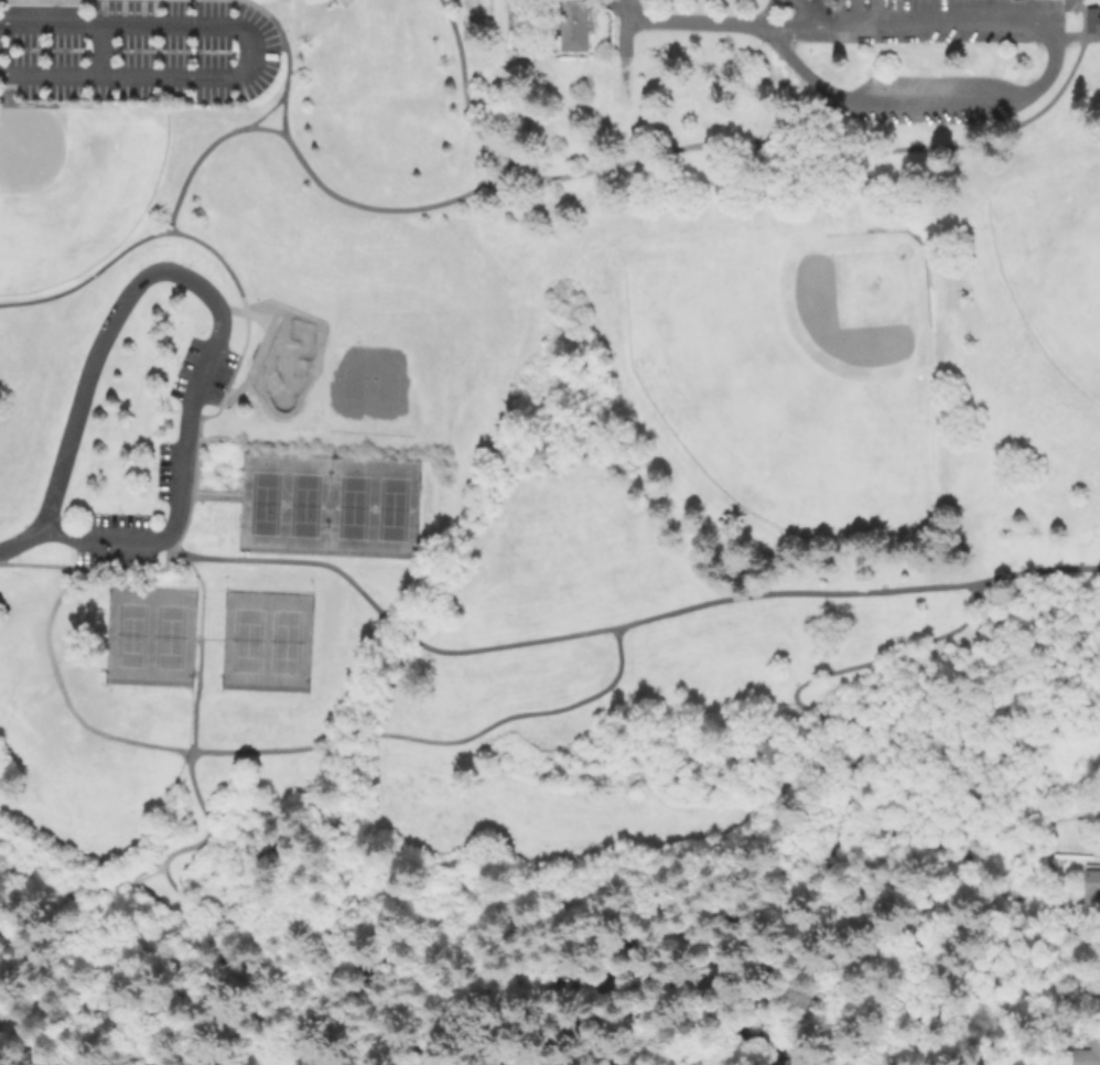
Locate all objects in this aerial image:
road: (1056, 11)
road: (697, 21)
road: (906, 21)
building: (1089, 21)
building: (571, 25)
road: (619, 29)
road: (1075, 39)
road: (268, 46)
road: (254, 49)
parking lot: (140, 52)
road: (284, 58)
road: (462, 90)
road: (923, 101)
road: (265, 114)
road: (840, 148)
road: (309, 173)
park: (68, 196)
road: (219, 259)
road: (171, 275)
road: (87, 277)
park: (1054, 278)
park: (1069, 288)
road: (231, 310)
park: (283, 355)
parking lot: (187, 362)
park: (796, 373)
parking lot: (223, 375)
park: (369, 384)
road: (235, 394)
building: (169, 422)
road: (198, 422)
parking lot: (162, 474)
road: (207, 496)
park: (262, 503)
park: (302, 505)
park: (351, 506)
park: (390, 507)
parking lot: (116, 519)
park: (546, 532)
road: (23, 540)
road: (101, 540)
road: (168, 544)
road: (179, 552)
parking lot: (114, 558)
road: (93, 566)
road: (1037, 569)
road: (199, 595)
park: (130, 634)
road: (567, 634)
park: (168, 635)
road: (207, 638)
park: (245, 639)
park: (283, 642)
road: (387, 684)
road: (795, 691)
road: (194, 695)
road: (64, 698)
road: (435, 742)
road: (1011, 818)
road: (172, 885)
road: (901, 885)
building: (1089, 886)
road: (773, 924)
road: (104, 930)
road: (52, 964)
road: (683, 988)
road: (504, 1008)
road: (589, 1010)
road: (79, 1014)
road: (984, 1014)
road: (600, 1042)
road: (996, 1044)
building: (1088, 1050)
road: (538, 1057)

